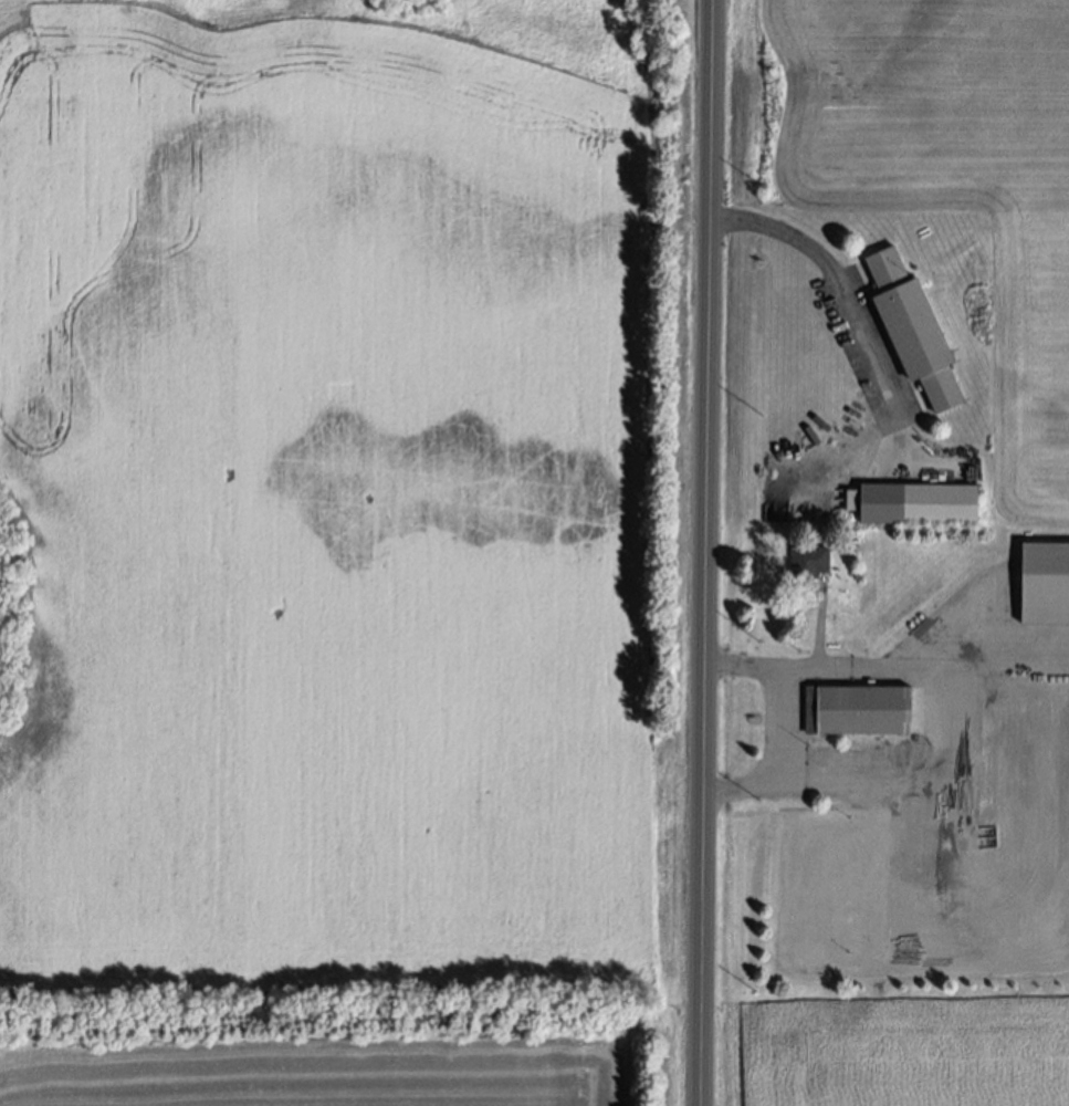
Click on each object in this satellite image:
road: (841, 279)
building: (914, 330)
parking lot: (872, 352)
building: (851, 500)
building: (918, 504)
road: (704, 552)
building: (809, 560)
building: (1045, 581)
road: (885, 666)
building: (864, 710)
road: (876, 784)

